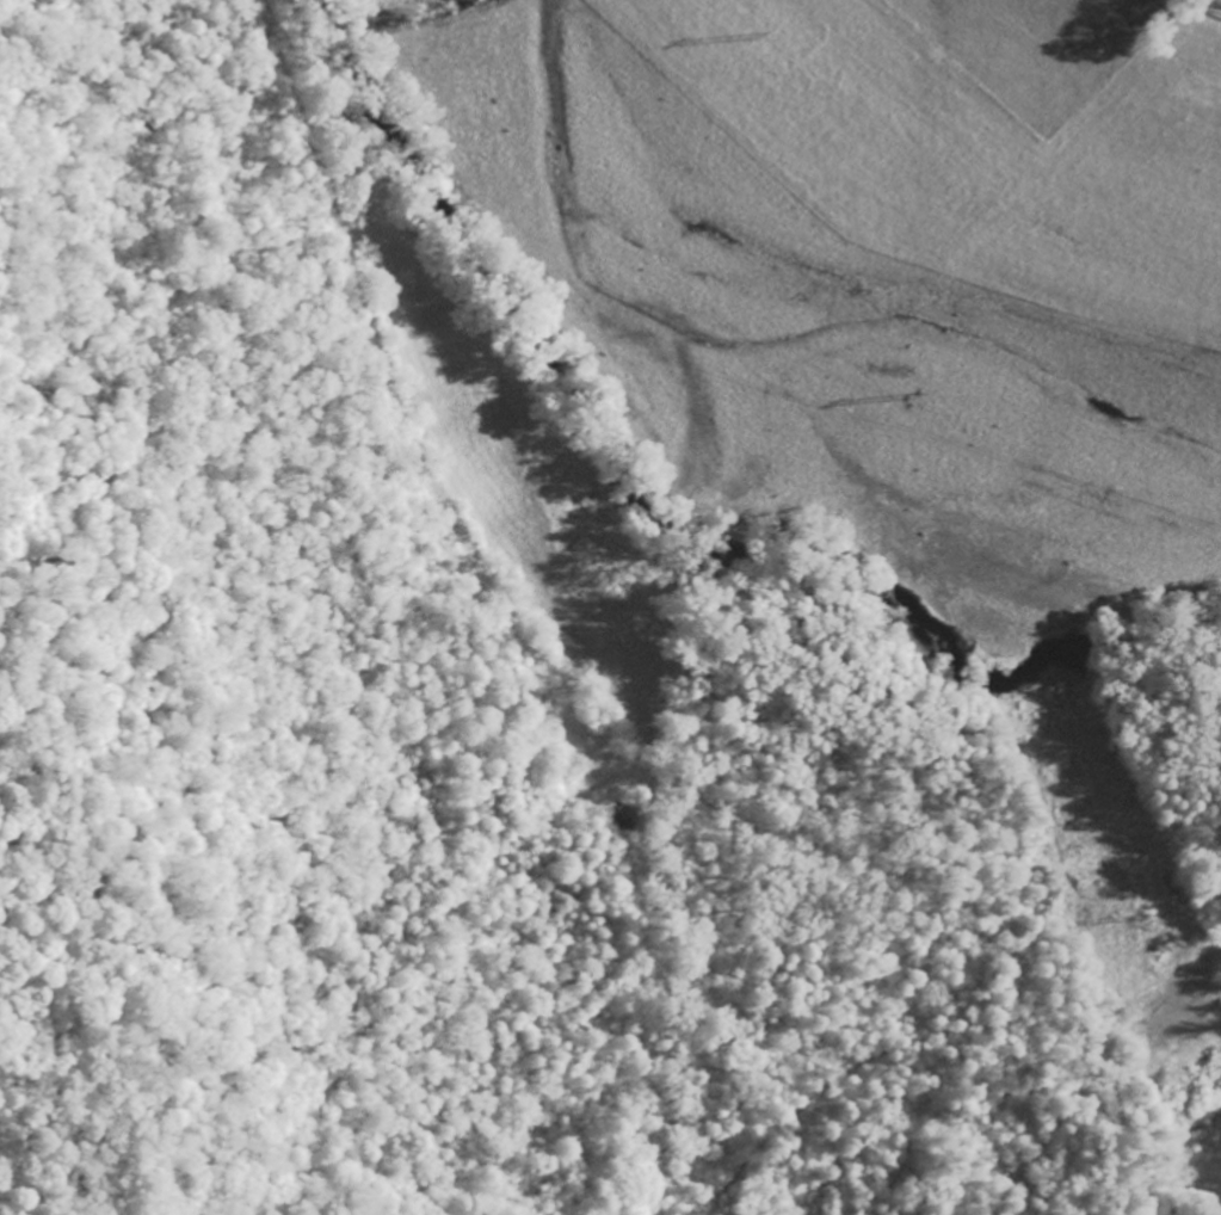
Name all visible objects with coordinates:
power tower: (917, 397)
road: (531, 668)

